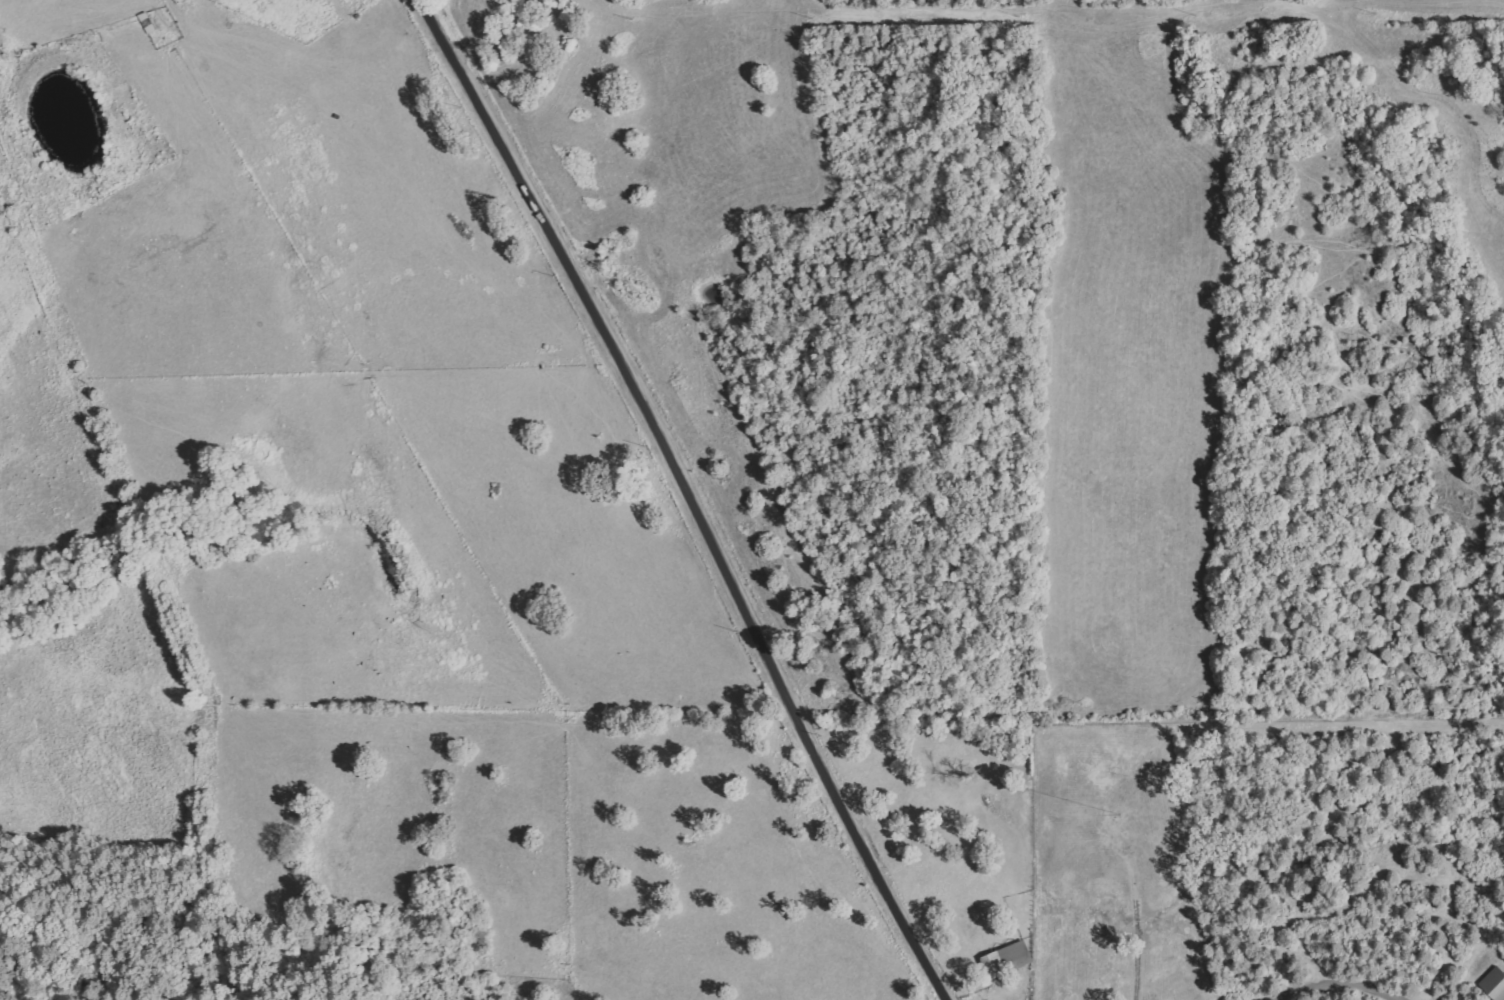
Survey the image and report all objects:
road: (692, 496)
building: (1008, 960)
building: (1494, 983)

